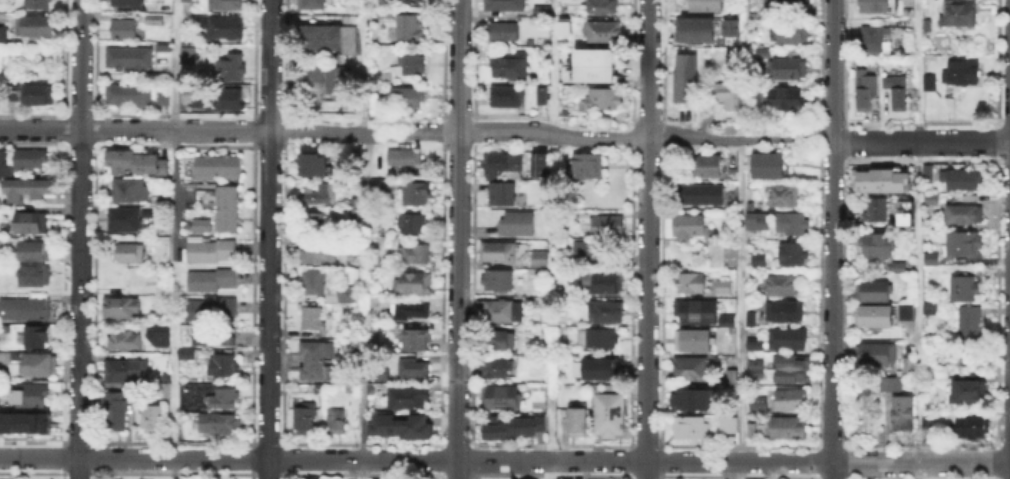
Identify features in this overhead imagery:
building: (3, 1)
building: (186, 1)
building: (410, 1)
building: (131, 3)
building: (39, 4)
building: (502, 4)
building: (705, 4)
building: (227, 5)
building: (313, 5)
building: (787, 5)
building: (872, 5)
road: (918, 5)
building: (604, 6)
building: (539, 9)
building: (959, 15)
building: (155, 20)
building: (562, 25)
building: (35, 27)
building: (408, 27)
building: (123, 28)
building: (733, 28)
building: (222, 30)
building: (699, 30)
building: (5, 33)
building: (504, 33)
building: (604, 33)
building: (793, 34)
building: (872, 37)
building: (319, 38)
building: (352, 41)
building: (764, 53)
building: (592, 55)
building: (189, 56)
building: (129, 58)
road: (364, 65)
building: (412, 65)
building: (510, 67)
building: (232, 69)
building: (787, 70)
building: (18, 71)
building: (961, 71)
building: (592, 72)
building: (685, 78)
building: (328, 79)
building: (930, 83)
building: (12, 91)
building: (868, 91)
building: (125, 94)
building: (898, 94)
building: (161, 95)
building: (542, 95)
building: (39, 96)
building: (509, 97)
building: (726, 97)
building: (202, 98)
building: (786, 98)
building: (409, 99)
building: (228, 100)
building: (605, 101)
building: (758, 101)
road: (134, 130)
road: (364, 131)
road: (507, 133)
road: (695, 136)
road: (921, 140)
building: (404, 158)
building: (31, 159)
building: (134, 160)
building: (503, 163)
building: (5, 164)
building: (215, 164)
building: (588, 164)
building: (542, 165)
building: (317, 167)
building: (773, 167)
building: (708, 168)
building: (929, 172)
building: (881, 179)
building: (962, 179)
building: (380, 188)
building: (28, 189)
building: (131, 190)
building: (417, 195)
building: (502, 195)
building: (703, 195)
building: (783, 196)
building: (316, 197)
building: (931, 199)
building: (226, 207)
building: (878, 211)
building: (904, 211)
building: (356, 216)
building: (967, 217)
building: (126, 221)
building: (908, 221)
building: (33, 223)
building: (200, 223)
building: (316, 223)
building: (789, 223)
building: (415, 224)
building: (518, 224)
building: (607, 227)
building: (691, 227)
road: (738, 230)
building: (928, 230)
building: (762, 233)
road: (79, 239)
road: (268, 239)
road: (458, 239)
road: (648, 239)
road: (833, 239)
road: (917, 244)
building: (966, 244)
building: (879, 246)
building: (36, 252)
building: (213, 252)
building: (498, 252)
building: (593, 253)
building: (131, 254)
building: (321, 254)
building: (417, 254)
road: (364, 256)
building: (795, 256)
building: (717, 257)
building: (540, 258)
building: (761, 261)
building: (933, 261)
building: (901, 268)
building: (35, 277)
building: (500, 280)
building: (213, 281)
building: (414, 282)
building: (314, 283)
building: (605, 283)
building: (691, 284)
building: (783, 285)
building: (723, 288)
building: (965, 289)
building: (874, 291)
building: (348, 295)
building: (121, 307)
building: (25, 309)
building: (212, 310)
building: (697, 310)
building: (413, 311)
building: (504, 311)
building: (785, 312)
building: (906, 312)
building: (604, 313)
building: (724, 318)
building: (876, 318)
building: (313, 319)
building: (752, 320)
building: (969, 320)
building: (156, 334)
building: (214, 335)
building: (37, 339)
building: (601, 339)
building: (500, 340)
building: (787, 340)
building: (126, 341)
building: (419, 341)
building: (697, 341)
building: (752, 341)
building: (188, 355)
building: (877, 355)
building: (317, 361)
building: (910, 365)
building: (223, 366)
building: (40, 367)
building: (413, 368)
building: (501, 368)
building: (692, 370)
building: (758, 370)
building: (795, 370)
building: (124, 371)
building: (587, 371)
building: (943, 373)
building: (732, 377)
building: (891, 384)
building: (163, 388)
road: (171, 389)
building: (968, 391)
building: (409, 394)
building: (30, 397)
building: (224, 397)
building: (500, 398)
building: (697, 399)
building: (792, 401)
building: (759, 403)
building: (118, 410)
building: (610, 414)
building: (905, 414)
building: (155, 418)
building: (306, 419)
building: (24, 421)
building: (578, 421)
building: (337, 422)
building: (928, 422)
building: (217, 423)
building: (400, 425)
building: (730, 425)
building: (789, 427)
building: (515, 428)
building: (972, 428)
building: (691, 429)
building: (753, 431)
road: (370, 460)
road: (875, 462)
road: (361, 469)
road: (550, 470)
road: (739, 470)

